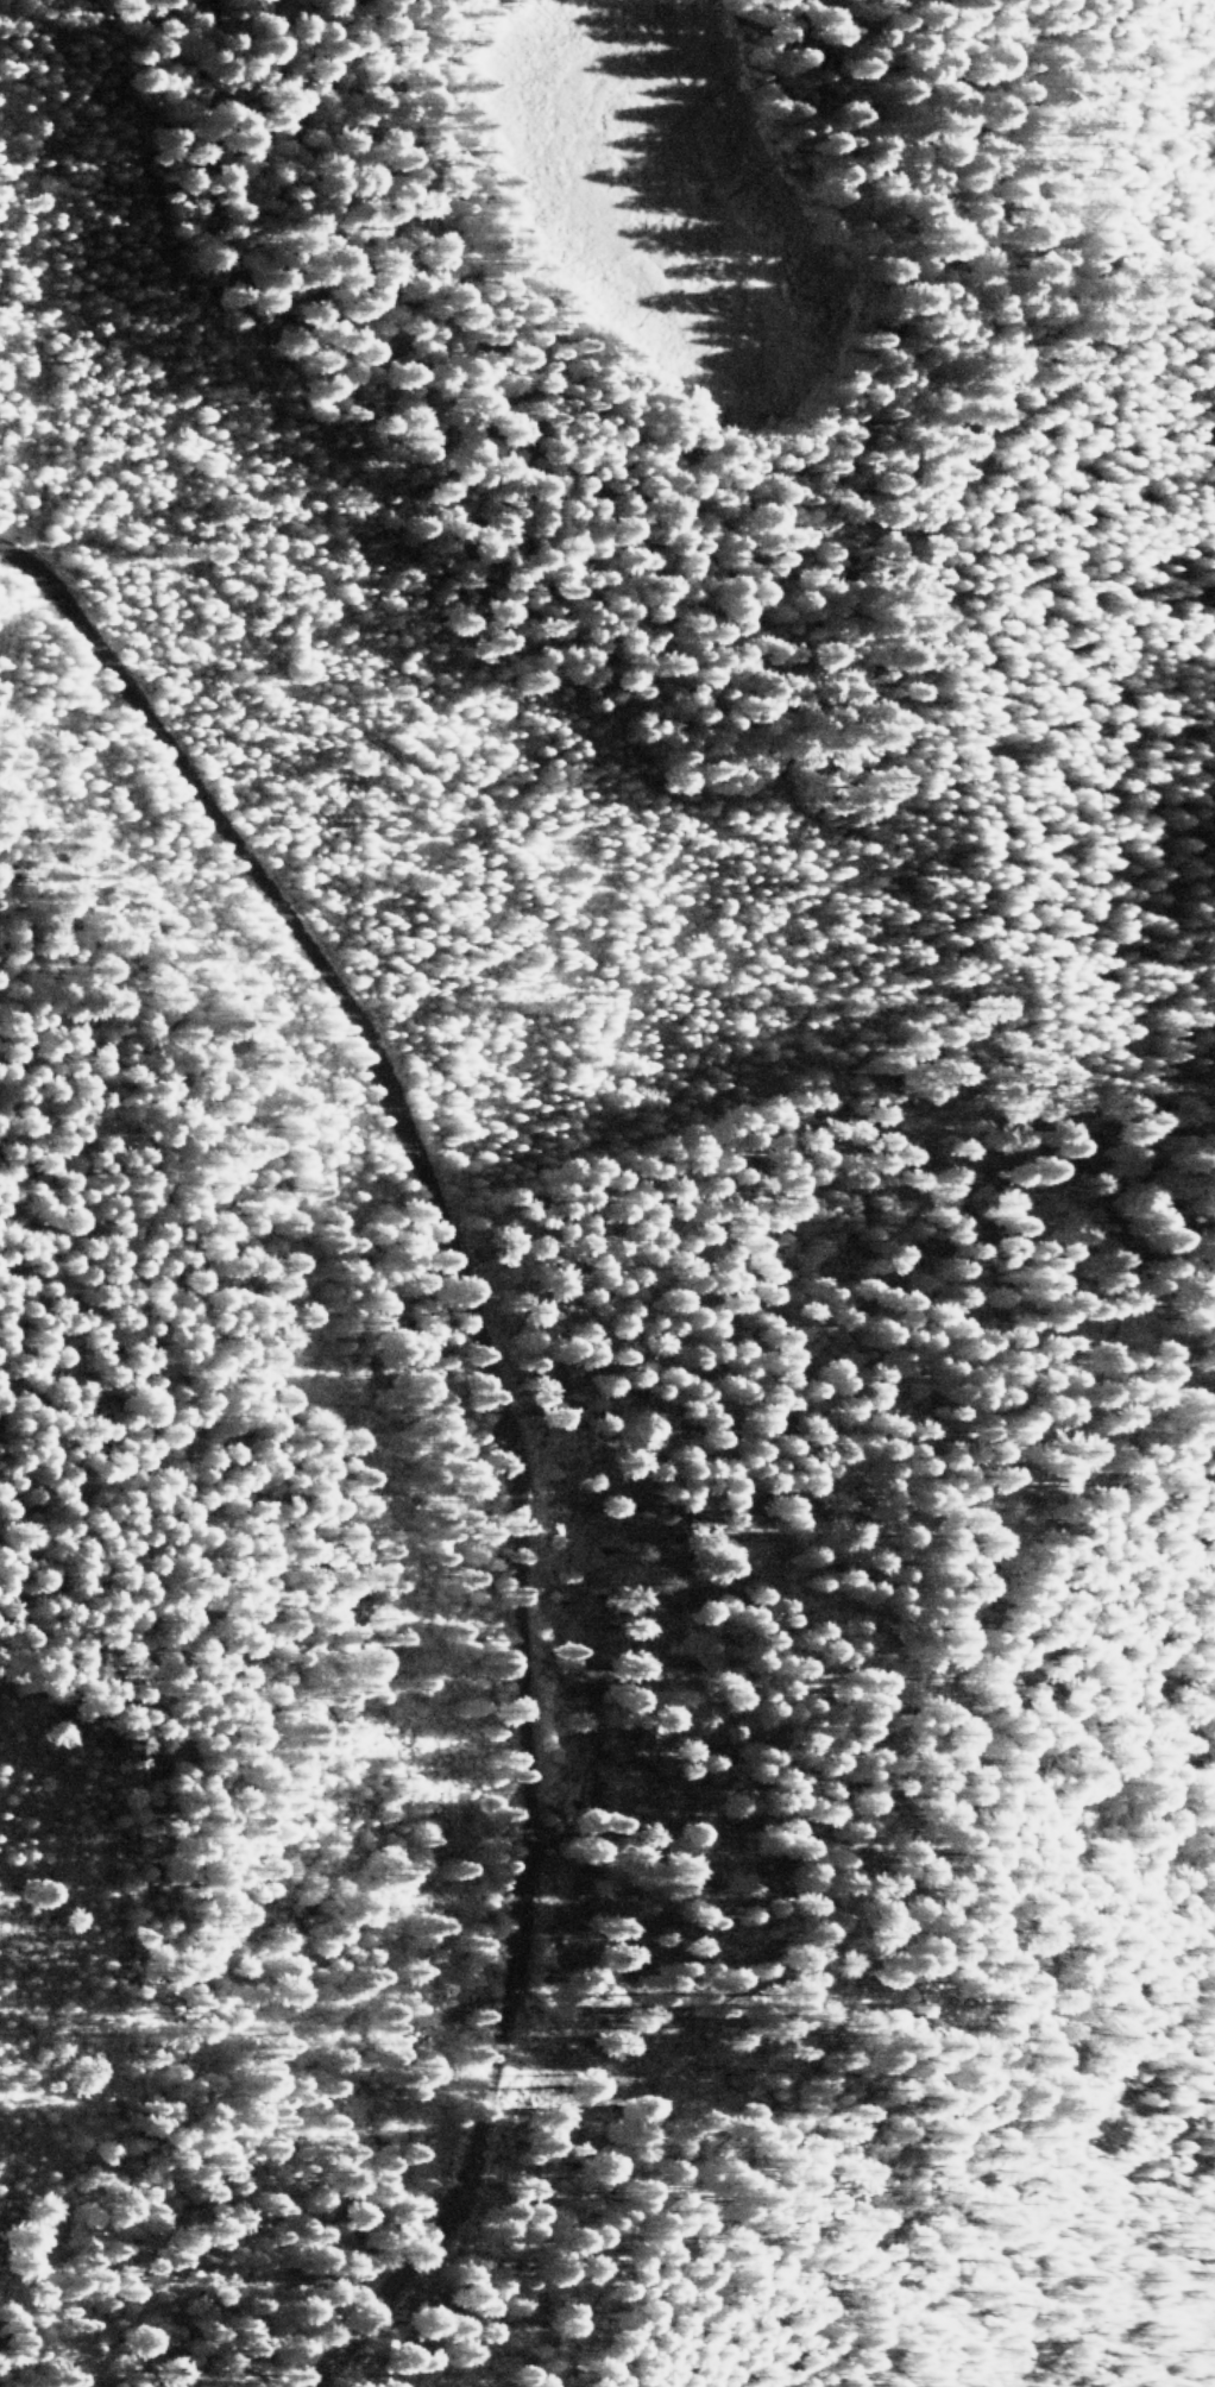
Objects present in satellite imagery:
road: (497, 1440)

